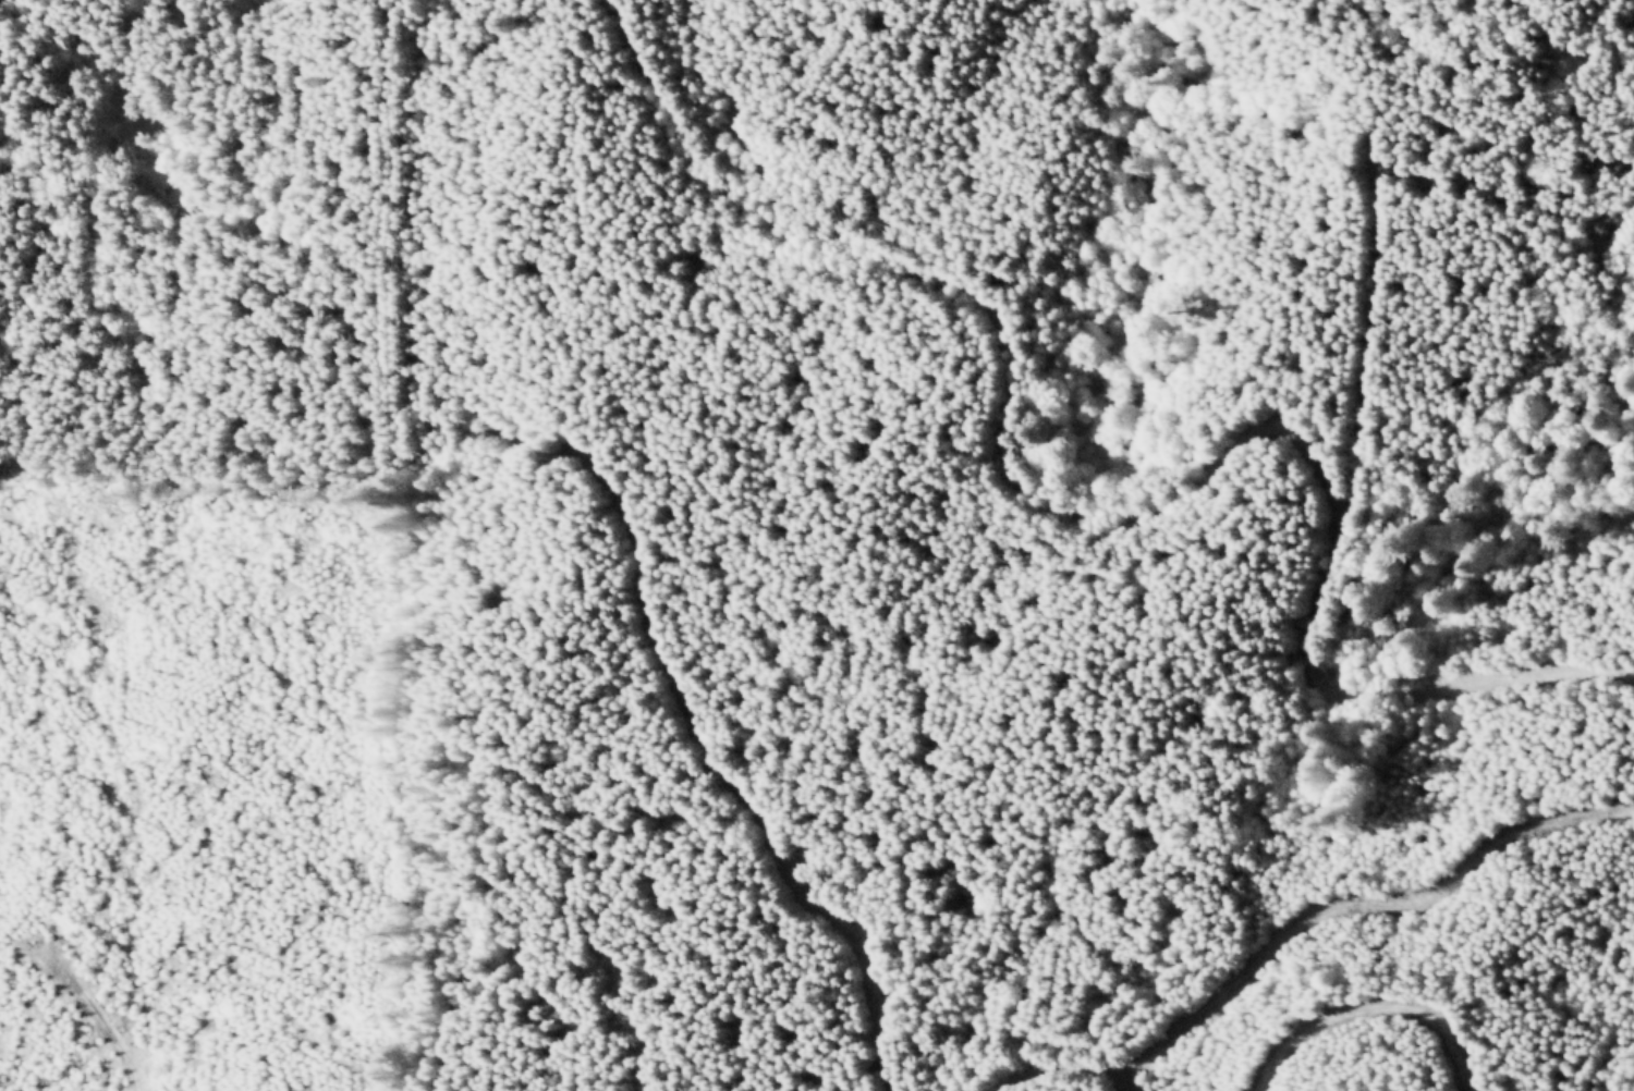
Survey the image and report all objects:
road: (1362, 338)
road: (1115, 517)
road: (717, 775)
road: (1301, 923)
road: (1371, 1007)
road: (98, 1018)
road: (1132, 1076)

